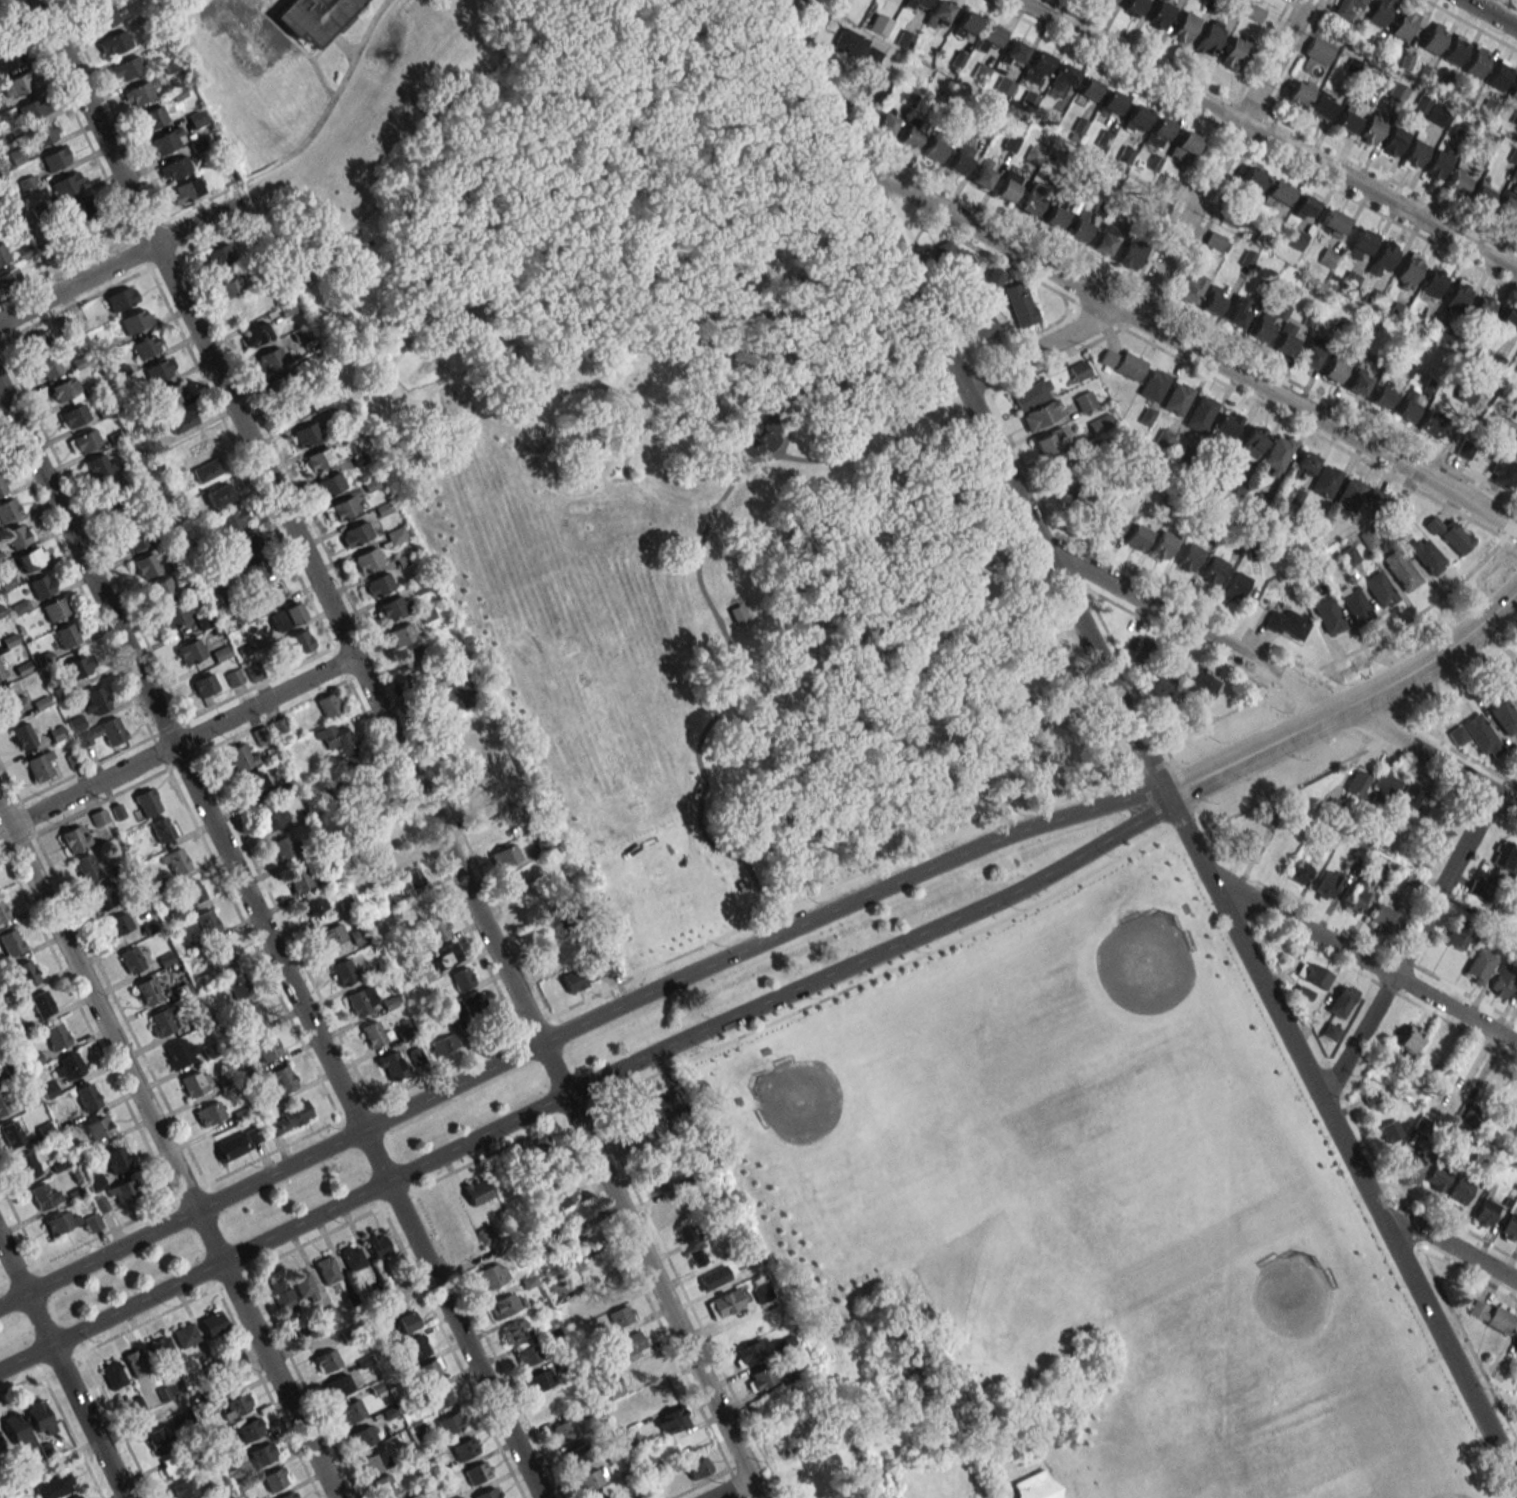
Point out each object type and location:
building: (1113, 0)
building: (92, 1)
building: (919, 2)
road: (1482, 2)
building: (1134, 6)
building: (1346, 7)
building: (940, 9)
building: (1379, 11)
road: (1494, 12)
building: (1160, 14)
building: (105, 17)
building: (314, 17)
building: (819, 17)
building: (967, 21)
building: (1403, 24)
road: (1470, 25)
building: (1185, 26)
building: (991, 34)
building: (1209, 38)
building: (1433, 38)
building: (904, 39)
building: (849, 42)
road: (342, 43)
building: (113, 44)
road: (297, 45)
road: (324, 48)
building: (1455, 50)
building: (1014, 51)
building: (1234, 52)
building: (1318, 52)
building: (871, 57)
building: (1040, 61)
building: (1476, 62)
building: (125, 68)
building: (980, 71)
building: (1499, 74)
building: (1063, 77)
building: (16, 85)
building: (1004, 85)
building: (874, 88)
building: (1088, 88)
building: (1397, 91)
building: (140, 92)
building: (1513, 92)
building: (1299, 93)
building: (1112, 101)
building: (1322, 105)
building: (33, 108)
building: (1438, 114)
building: (1135, 115)
building: (151, 117)
building: (1346, 120)
building: (885, 124)
road: (762, 126)
building: (1160, 127)
building: (1372, 127)
building: (43, 134)
road: (1268, 135)
building: (909, 136)
building: (1186, 141)
building: (164, 142)
building: (1392, 142)
building: (935, 148)
building: (1031, 153)
building: (1414, 154)
building: (16, 156)
road: (289, 157)
building: (961, 157)
building: (56, 158)
road: (467, 159)
building: (1438, 163)
building: (176, 167)
building: (984, 173)
building: (1252, 179)
building: (1458, 181)
building: (1166, 183)
building: (66, 184)
building: (1008, 186)
building: (184, 190)
building: (1277, 192)
road: (236, 194)
building: (1482, 194)
building: (1032, 199)
building: (1159, 207)
building: (1304, 207)
building: (1505, 208)
building: (79, 210)
road: (757, 216)
building: (1055, 216)
building: (1333, 223)
building: (1080, 226)
building: (91, 235)
building: (1106, 238)
road: (1176, 238)
building: (1295, 239)
building: (1216, 242)
building: (1361, 243)
building: (1128, 254)
building: (3, 255)
building: (217, 256)
building: (949, 258)
building: (1381, 261)
road: (119, 262)
building: (1408, 270)
building: (995, 276)
building: (9, 277)
road: (799, 279)
building: (1431, 285)
building: (229, 287)
building: (1190, 288)
road: (645, 291)
building: (1457, 295)
building: (121, 298)
building: (1212, 303)
building: (1019, 304)
building: (1483, 307)
building: (244, 311)
building: (1236, 316)
building: (1508, 317)
building: (134, 320)
building: (1261, 326)
building: (980, 327)
building: (257, 334)
building: (39, 342)
road: (1184, 343)
building: (1284, 343)
road: (524, 345)
building: (144, 346)
building: (1308, 357)
building: (1107, 358)
building: (272, 359)
road: (475, 359)
road: (508, 361)
building: (47, 366)
building: (1129, 366)
building: (157, 370)
building: (1079, 370)
building: (1333, 370)
road: (524, 376)
road: (646, 380)
building: (1357, 383)
building: (1153, 384)
road: (985, 387)
building: (63, 392)
road: (462, 393)
building: (1031, 393)
building: (172, 394)
road: (465, 396)
road: (629, 396)
building: (1381, 396)
building: (1177, 398)
building: (1084, 401)
building: (294, 408)
building: (1405, 410)
building: (1200, 413)
building: (1041, 415)
building: (72, 416)
building: (181, 420)
building: (1428, 422)
building: (1101, 423)
building: (1227, 423)
building: (304, 434)
road: (554, 437)
building: (1163, 438)
building: (83, 441)
building: (1047, 441)
building: (1252, 441)
building: (192, 447)
road: (534, 450)
building: (1515, 452)
building: (1277, 454)
building: (316, 460)
building: (1303, 463)
building: (98, 465)
park: (682, 469)
building: (207, 470)
building: (1062, 472)
building: (1504, 473)
building: (1325, 480)
building: (328, 485)
building: (2, 486)
building: (113, 488)
building: (220, 494)
building: (1359, 495)
building: (8, 509)
building: (340, 509)
building: (122, 516)
building: (230, 520)
building: (1112, 525)
building: (355, 534)
building: (1449, 534)
building: (18, 535)
building: (1137, 537)
building: (1370, 539)
building: (131, 541)
building: (1164, 544)
building: (242, 545)
building: (1349, 555)
building: (1426, 555)
building: (1189, 557)
building: (30, 558)
building: (366, 559)
building: (144, 565)
building: (1399, 568)
building: (1213, 570)
building: (252, 571)
building: (378, 584)
building: (42, 585)
road: (703, 585)
building: (1235, 585)
building: (162, 587)
building: (1379, 588)
building: (266, 595)
building: (1355, 606)
building: (55, 608)
building: (390, 608)
building: (174, 614)
building: (739, 614)
building: (1328, 615)
building: (286, 616)
road: (727, 621)
building: (1285, 623)
building: (66, 635)
building: (401, 635)
building: (299, 642)
building: (1140, 651)
building: (189, 652)
building: (412, 655)
building: (78, 666)
building: (1, 673)
road: (1279, 675)
building: (427, 677)
building: (1200, 682)
building: (204, 685)
building: (1161, 686)
building: (1514, 694)
building: (94, 701)
building: (12, 702)
building: (327, 705)
road: (1350, 705)
building: (1503, 715)
building: (100, 732)
park: (601, 733)
building: (25, 734)
building: (1475, 735)
road: (178, 742)
building: (339, 742)
road: (1142, 743)
road: (403, 748)
building: (464, 755)
building: (241, 757)
building: (39, 765)
building: (1357, 783)
building: (254, 784)
building: (1384, 788)
building: (1410, 795)
building: (146, 802)
building: (270, 816)
building: (161, 829)
building: (492, 833)
building: (74, 838)
building: (545, 845)
building: (1246, 845)
building: (282, 847)
building: (504, 856)
building: (1504, 856)
building: (174, 862)
building: (86, 866)
building: (1298, 871)
building: (1516, 874)
building: (298, 878)
building: (413, 878)
building: (1327, 885)
building: (743, 886)
road: (738, 888)
building: (191, 891)
building: (102, 897)
building: (1355, 897)
building: (313, 905)
building: (3, 911)
building: (1381, 918)
building: (207, 922)
building: (117, 924)
building: (437, 928)
building: (331, 935)
building: (1459, 937)
building: (10, 942)
road: (269, 943)
road: (757, 944)
road: (1407, 947)
building: (444, 955)
building: (218, 956)
road: (1362, 959)
building: (131, 960)
building: (1479, 966)
building: (342, 972)
building: (25, 973)
building: (1313, 974)
building: (461, 978)
building: (572, 980)
building: (1502, 983)
building: (237, 985)
building: (146, 990)
road: (782, 997)
building: (1342, 1000)
building: (361, 1001)
road: (579, 1002)
building: (41, 1004)
building: (463, 1006)
building: (255, 1016)
building: (161, 1021)
building: (1330, 1031)
building: (372, 1034)
building: (55, 1035)
building: (1411, 1036)
building: (443, 1044)
building: (266, 1047)
building: (179, 1052)
building: (390, 1065)
building: (68, 1067)
building: (279, 1081)
building: (195, 1082)
building: (87, 1097)
building: (1439, 1098)
building: (1514, 1098)
building: (3, 1105)
building: (209, 1113)
building: (1473, 1117)
building: (286, 1118)
building: (97, 1128)
building: (1391, 1130)
building: (10, 1134)
building: (235, 1144)
building: (544, 1145)
building: (638, 1146)
road: (167, 1154)
building: (116, 1159)
building: (26, 1165)
building: (1410, 1170)
building: (1436, 1177)
building: (94, 1182)
building: (660, 1182)
building: (476, 1190)
building: (121, 1191)
building: (1459, 1191)
building: (563, 1194)
building: (44, 1195)
building: (673, 1209)
building: (1484, 1213)
building: (443, 1216)
road: (180, 1218)
building: (61, 1221)
park: (1070, 1224)
building: (1509, 1228)
building: (684, 1231)
building: (485, 1235)
road: (1446, 1243)
building: (376, 1244)
building: (575, 1248)
building: (351, 1256)
building: (695, 1256)
building: (326, 1269)
building: (492, 1275)
road: (193, 1276)
building: (713, 1277)
building: (303, 1285)
building: (760, 1289)
building: (555, 1290)
building: (281, 1295)
building: (726, 1302)
building: (504, 1306)
building: (570, 1311)
building: (620, 1315)
building: (1491, 1315)
building: (401, 1319)
building: (212, 1322)
building: (513, 1332)
building: (184, 1335)
building: (630, 1343)
building: (786, 1344)
building: (1514, 1346)
building: (414, 1347)
building: (161, 1351)
building: (748, 1353)
building: (527, 1355)
building: (235, 1360)
building: (325, 1360)
building: (135, 1362)
building: (798, 1368)
road: (61, 1370)
building: (428, 1371)
building: (112, 1375)
building: (760, 1378)
building: (539, 1381)
building: (337, 1386)
building: (611, 1387)
building: (438, 1398)
building: (653, 1398)
building: (237, 1405)
building: (552, 1405)
building: (349, 1411)
building: (39, 1418)
building: (673, 1420)
building: (449, 1423)
building: (16, 1429)
building: (250, 1429)
building: (564, 1429)
building: (362, 1436)
building: (157, 1440)
building: (631, 1440)
building: (0, 1448)
building: (464, 1448)
building: (262, 1453)
building: (576, 1455)
building: (373, 1462)
building: (173, 1466)
building: (698, 1467)
building: (477, 1472)
building: (274, 1478)
building: (810, 1478)
building: (589, 1480)
building: (56, 1486)
building: (383, 1486)
building: (1036, 1486)
building: (185, 1488)
road: (733, 1489)
building: (488, 1493)
building: (288, 1495)
building: (75, 1496)
building: (597, 1496)
building: (403, 1497)

